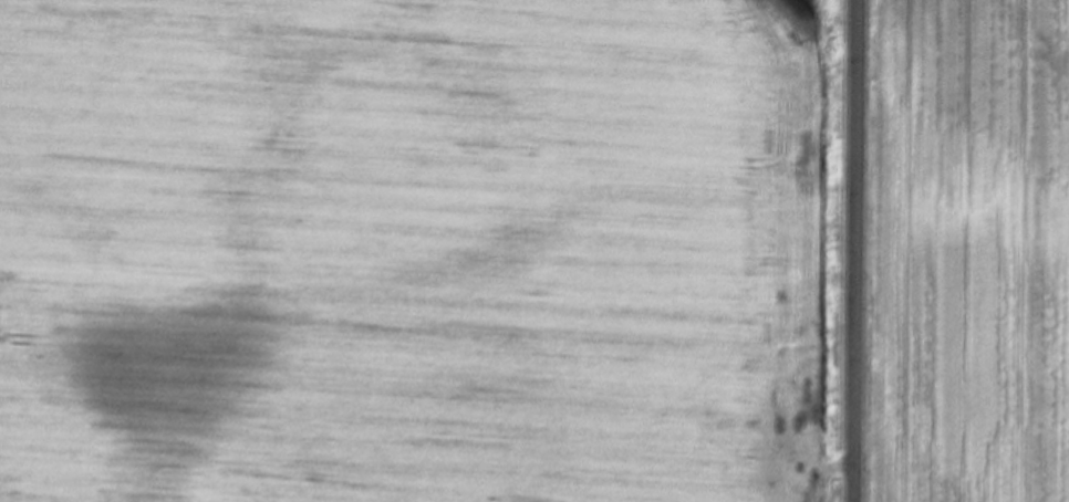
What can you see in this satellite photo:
road: (851, 251)

